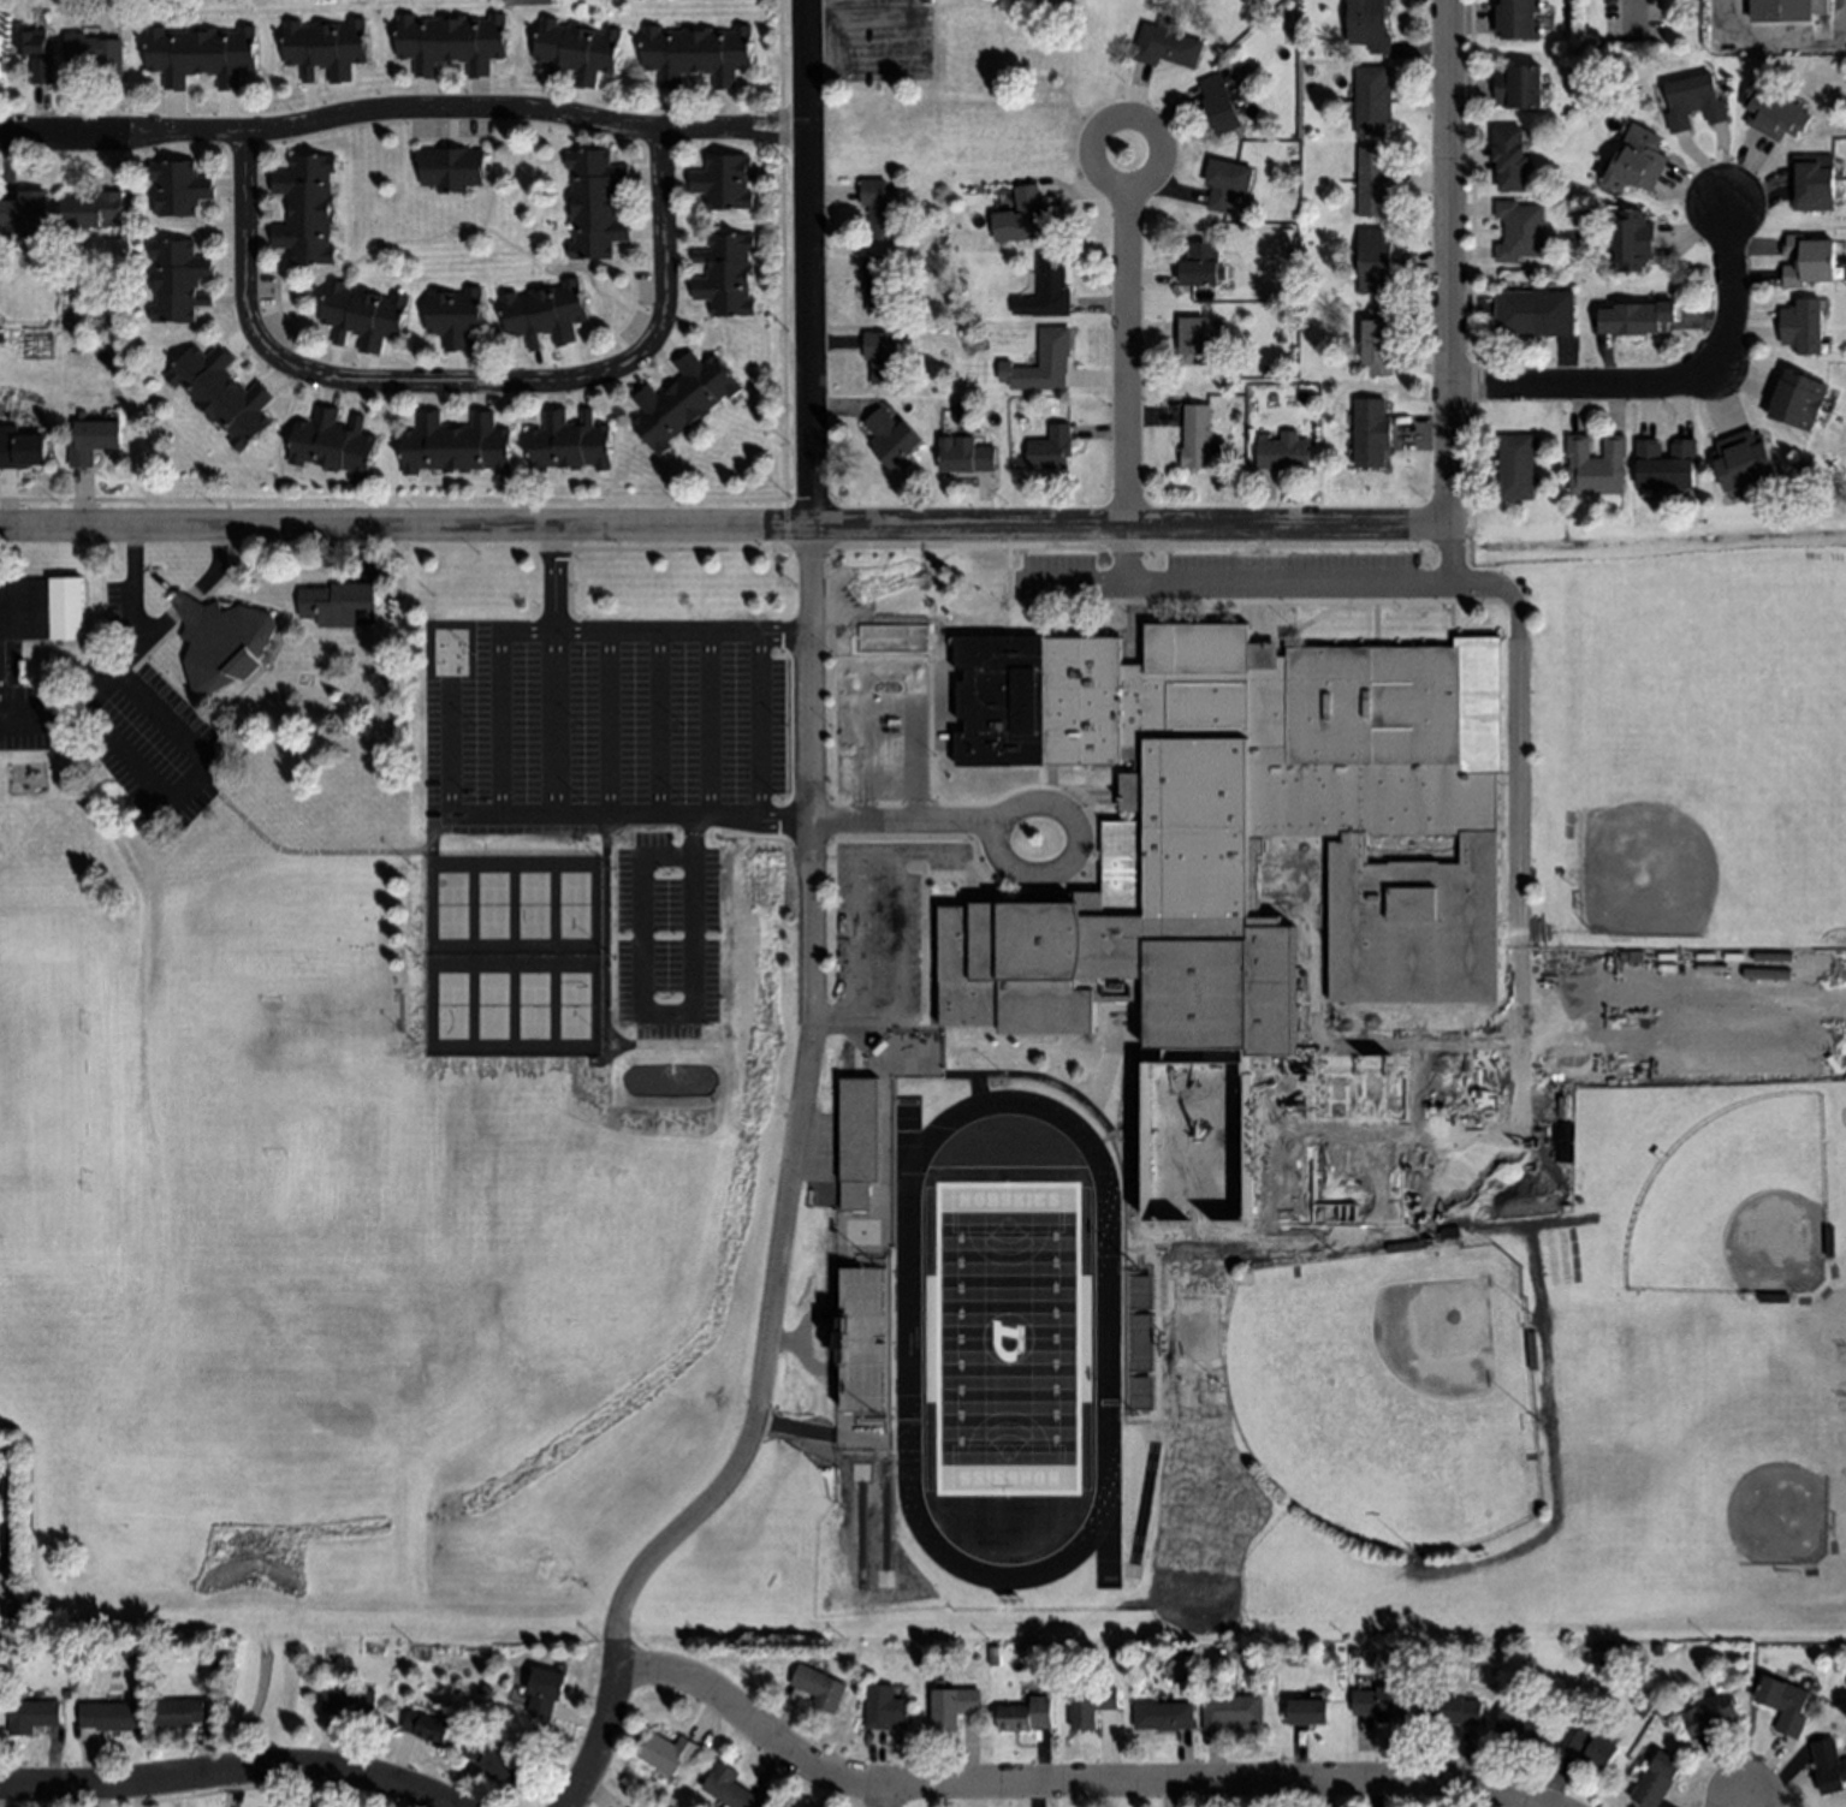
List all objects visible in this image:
building: (993, 0)
building: (533, 2)
building: (1818, 8)
building: (1779, 12)
building: (1519, 18)
road: (1631, 23)
building: (1369, 24)
road: (1769, 31)
building: (35, 42)
building: (452, 42)
building: (1167, 44)
building: (326, 48)
building: (578, 50)
building: (96, 53)
building: (698, 53)
building: (202, 55)
building: (0, 69)
building: (42, 70)
building: (1519, 87)
building: (1372, 101)
building: (1693, 102)
building: (1219, 105)
road: (402, 111)
building: (1773, 113)
road: (1155, 137)
building: (1510, 159)
building: (1637, 161)
building: (452, 167)
building: (1225, 180)
building: (1375, 180)
building: (724, 183)
building: (1812, 184)
building: (179, 188)
building: (596, 204)
building: (307, 208)
building: (93, 210)
building: (882, 210)
building: (26, 213)
building: (1025, 216)
building: (1519, 230)
building: (1632, 240)
building: (1375, 261)
building: (1806, 261)
road: (807, 264)
building: (1201, 266)
building: (726, 274)
building: (179, 280)
road: (1448, 280)
building: (879, 284)
building: (1046, 289)
building: (545, 311)
building: (1533, 313)
building: (364, 315)
building: (455, 316)
building: (1630, 319)
building: (1802, 326)
building: (1, 337)
building: (1193, 341)
building: (1379, 341)
building: (880, 355)
road: (1126, 361)
building: (1043, 363)
road: (458, 382)
road: (1673, 386)
building: (222, 394)
building: (1799, 399)
building: (682, 400)
building: (1370, 430)
building: (1197, 436)
building: (892, 438)
building: (93, 440)
building: (570, 442)
building: (332, 444)
building: (455, 445)
building: (22, 448)
building: (1051, 450)
building: (1283, 451)
building: (966, 454)
building: (1743, 460)
building: (1597, 464)
building: (1666, 464)
building: (1516, 466)
road: (925, 529)
road: (1127, 559)
road: (1450, 573)
parking lot: (1222, 581)
road: (551, 584)
road: (131, 587)
road: (1221, 588)
street lamp: (569, 589)
building: (333, 606)
building: (41, 614)
flagpole: (1283, 624)
road: (770, 640)
building: (219, 646)
road: (132, 653)
street lamp: (776, 653)
street lamp: (830, 654)
street lamp: (937, 654)
street lamp: (473, 656)
street lamp: (581, 656)
street lamp: (681, 656)
road: (992, 676)
street lamp: (102, 702)
parking lot: (120, 720)
street lamp: (937, 729)
road: (447, 730)
street lamp: (473, 730)
street lamp: (580, 730)
street lamp: (682, 730)
parking lot: (694, 730)
street lamp: (784, 730)
street lamp: (826, 730)
road: (912, 730)
road: (605, 731)
road: (655, 731)
road: (706, 731)
road: (758, 731)
road: (861, 731)
road: (497, 733)
street lamp: (1007, 742)
street lamp: (177, 778)
road: (189, 784)
street lamp: (681, 803)
street lamp: (780, 803)
street lamp: (470, 804)
street lamp: (581, 806)
street lamp: (830, 806)
street lamp: (937, 806)
street lamp: (1084, 810)
park: (1696, 812)
road: (894, 821)
road: (584, 822)
road: (1514, 839)
street lamp: (968, 844)
building: (1250, 844)
road: (303, 855)
road: (931, 858)
road: (898, 860)
road: (1070, 863)
street lamp: (884, 881)
park: (450, 909)
park: (491, 909)
park: (532, 909)
park: (574, 910)
parking lot: (880, 933)
street lamp: (884, 947)
park: (450, 1010)
park: (491, 1010)
park: (532, 1010)
park: (572, 1010)
street lamp: (880, 1010)
road: (831, 1022)
building: (851, 1048)
road: (1022, 1077)
road: (794, 1127)
building: (855, 1141)
street lamp: (1443, 1164)
road: (1126, 1183)
park: (1733, 1208)
building: (1830, 1241)
road: (883, 1242)
building: (1425, 1243)
building: (1775, 1297)
park: (1007, 1343)
building: (861, 1344)
building: (1139, 1348)
building: (1535, 1350)
park: (1387, 1397)
park: (1733, 1478)
road: (12, 1515)
road: (1092, 1527)
road: (1104, 1534)
park: (12, 1543)
park: (1235, 1561)
building: (1, 1613)
building: (1142, 1656)
building: (993, 1660)
building: (1494, 1674)
building: (819, 1687)
building: (546, 1692)
building: (350, 1704)
building: (1379, 1704)
building: (1785, 1704)
building: (952, 1706)
building: (1090, 1707)
building: (885, 1708)
building: (1644, 1708)
building: (1230, 1711)
building: (1449, 1711)
building: (1307, 1712)
building: (179, 1713)
building: (1710, 1714)
building: (31, 1716)
building: (1026, 1716)
building: (1162, 1716)
building: (108, 1717)
building: (427, 1728)
building: (1524, 1728)
road: (601, 1741)
building: (1592, 1748)
building: (667, 1753)
building: (495, 1760)
building: (1828, 1766)
road: (224, 1772)
building: (1656, 1781)
road: (1066, 1784)
road: (280, 1787)
park: (244, 1788)
building: (728, 1788)
road: (237, 1790)
road: (884, 1796)
road: (1733, 1803)
building: (671, 1806)

